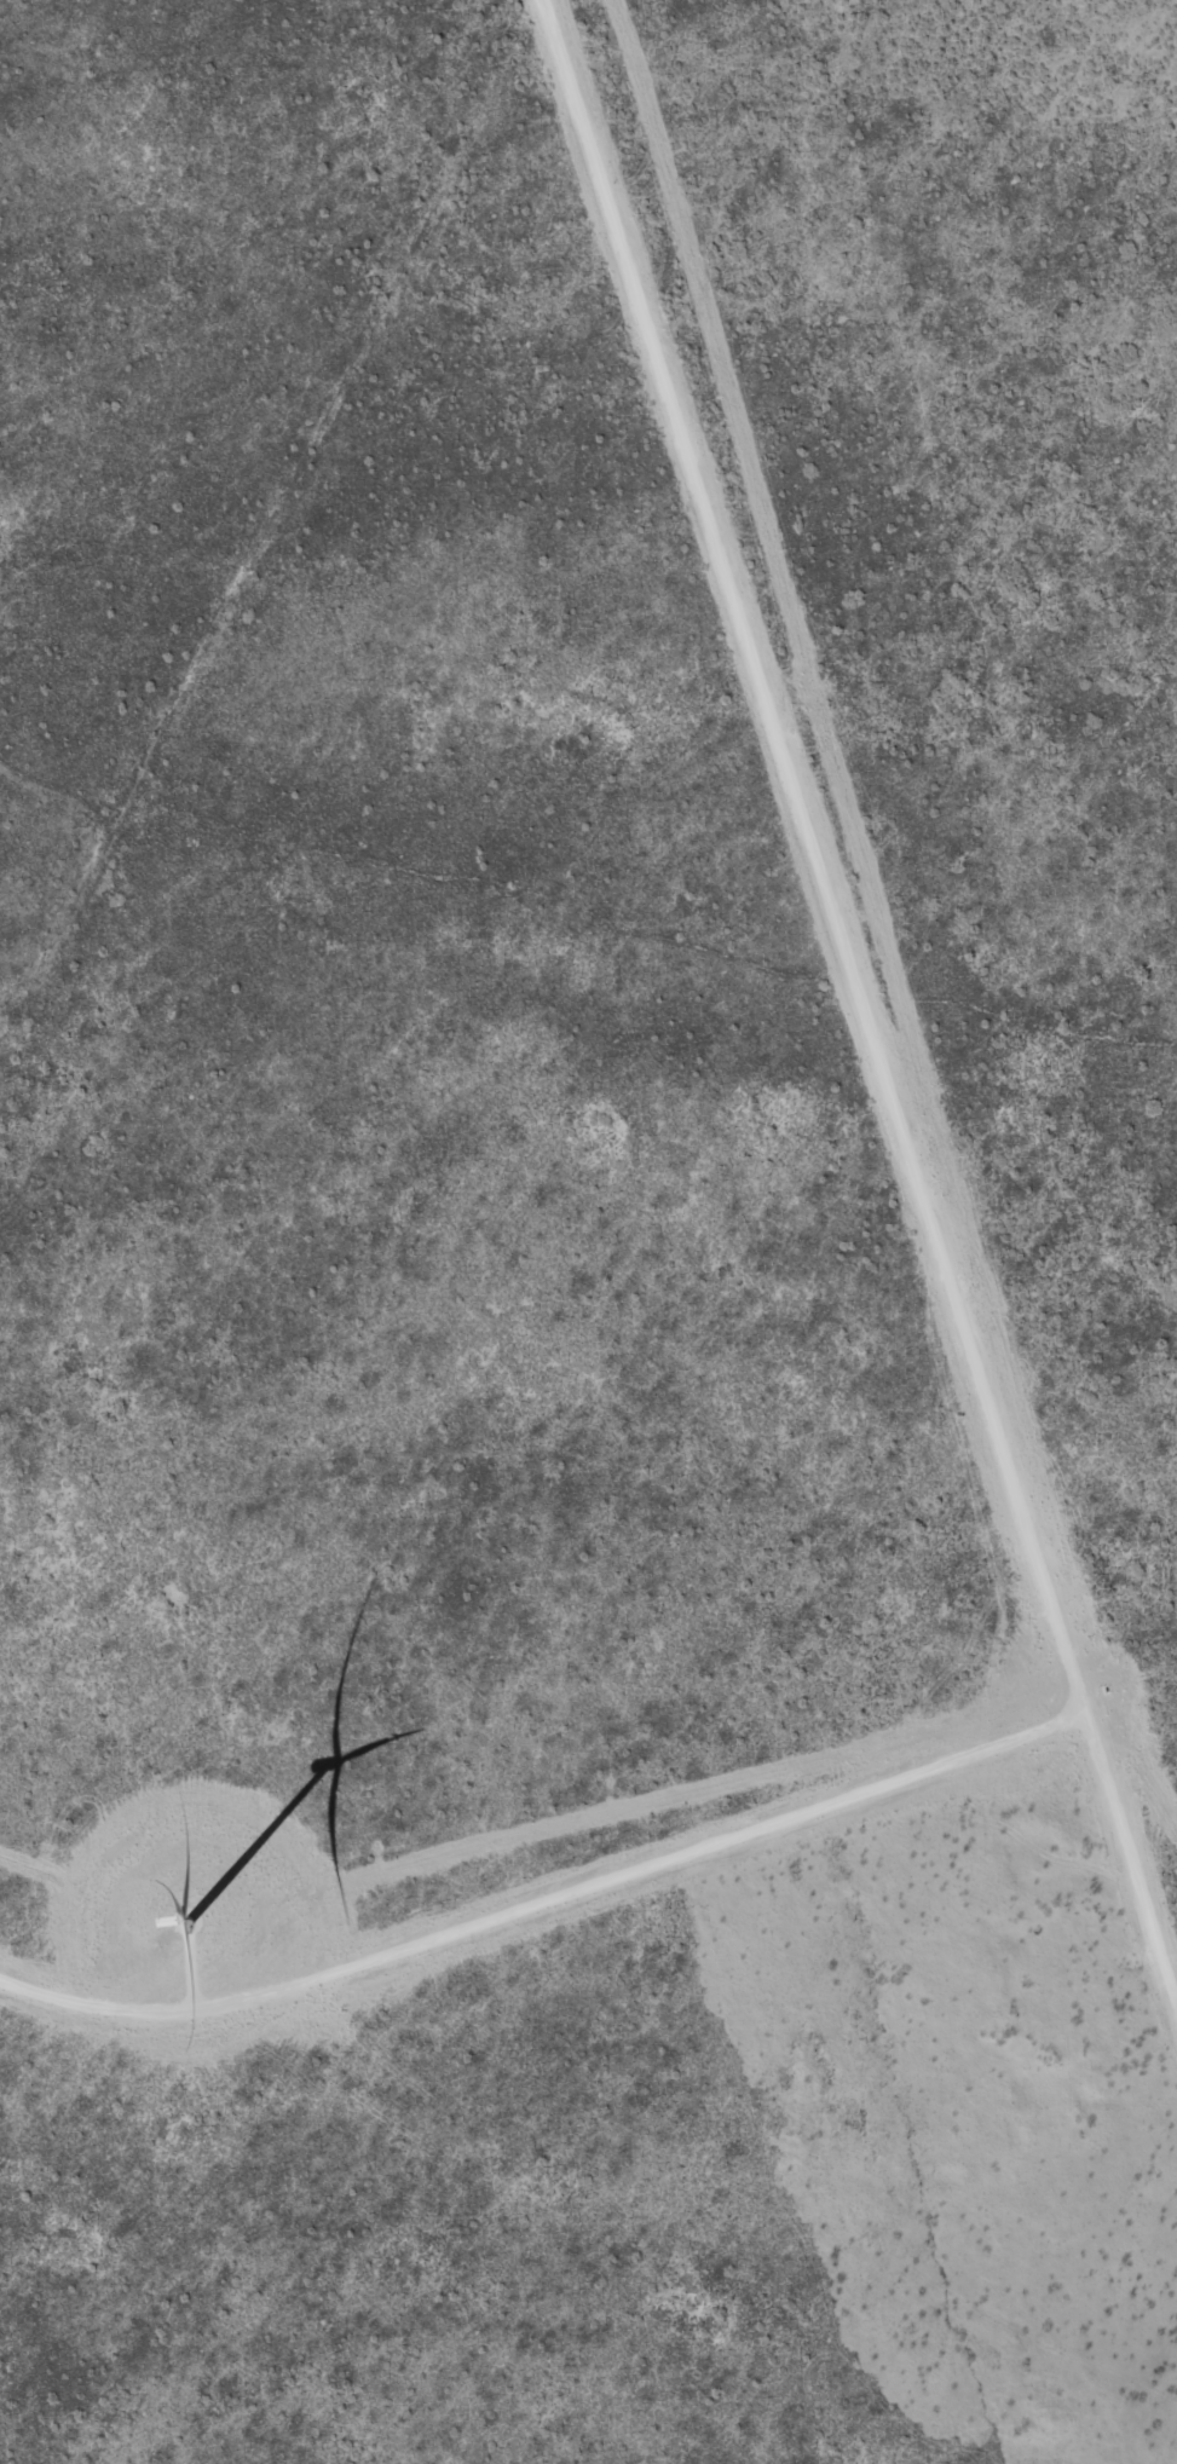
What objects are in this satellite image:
wind turbine: (177, 1955)

